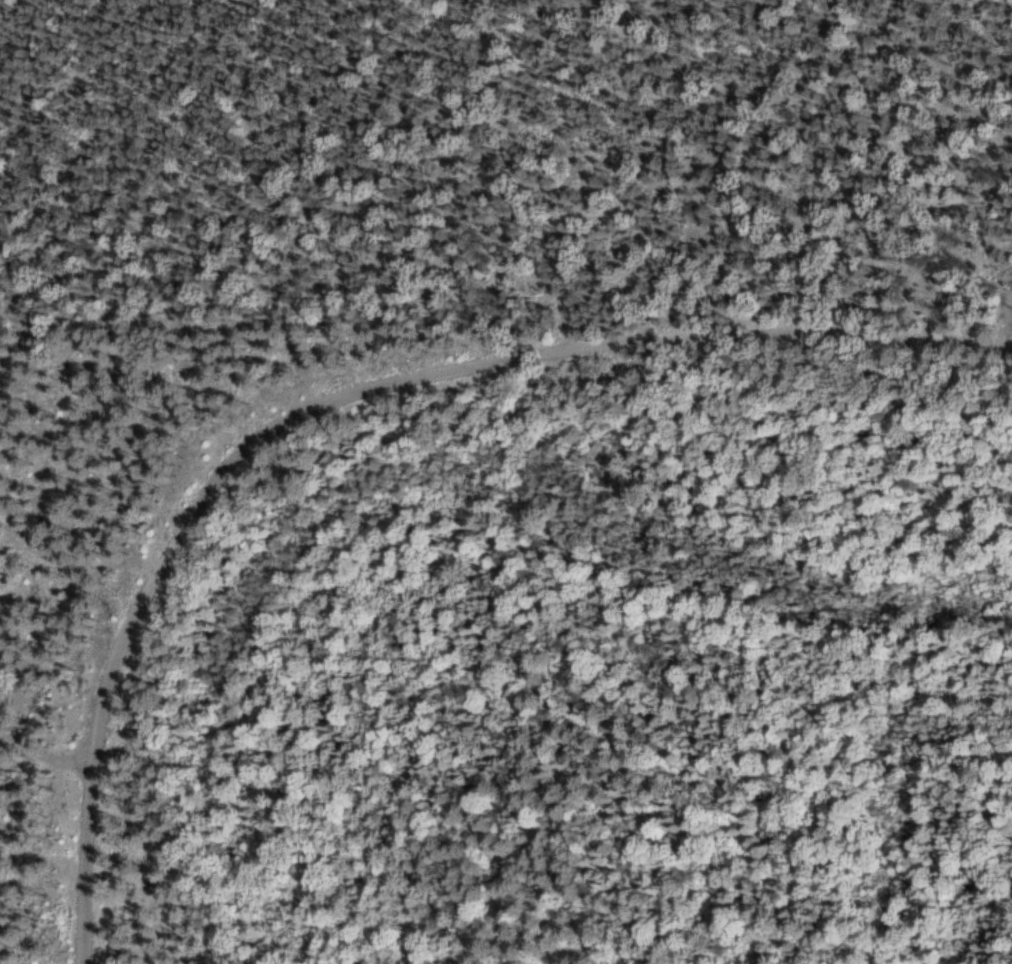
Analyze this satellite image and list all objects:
road: (348, 394)
road: (48, 721)

